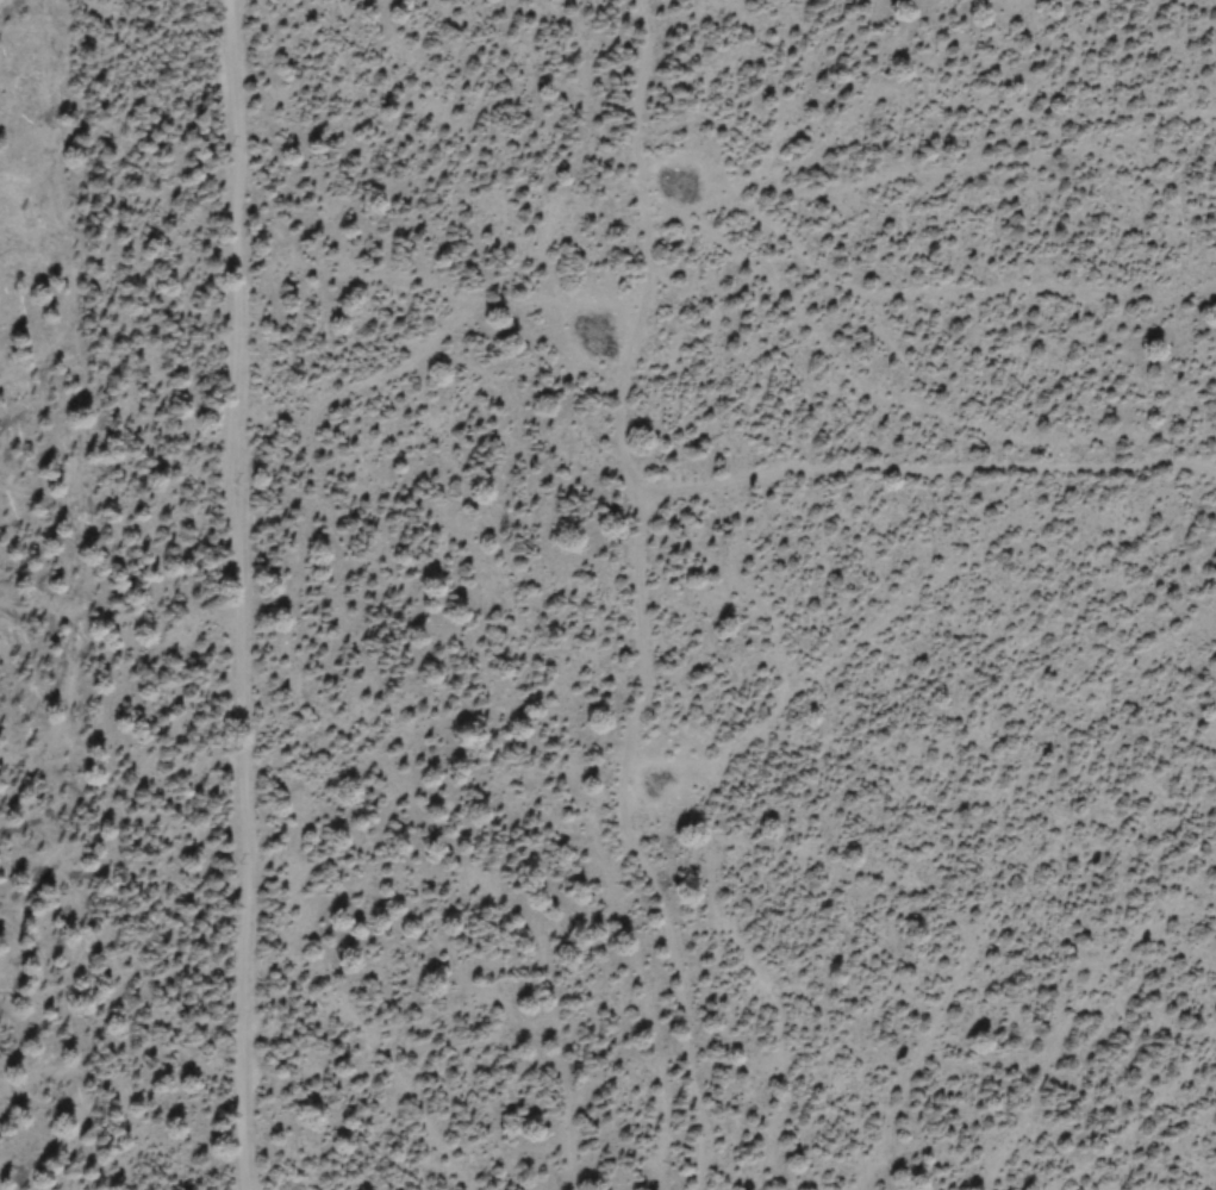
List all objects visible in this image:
road: (646, 244)
road: (928, 482)
road: (247, 594)
road: (625, 848)

